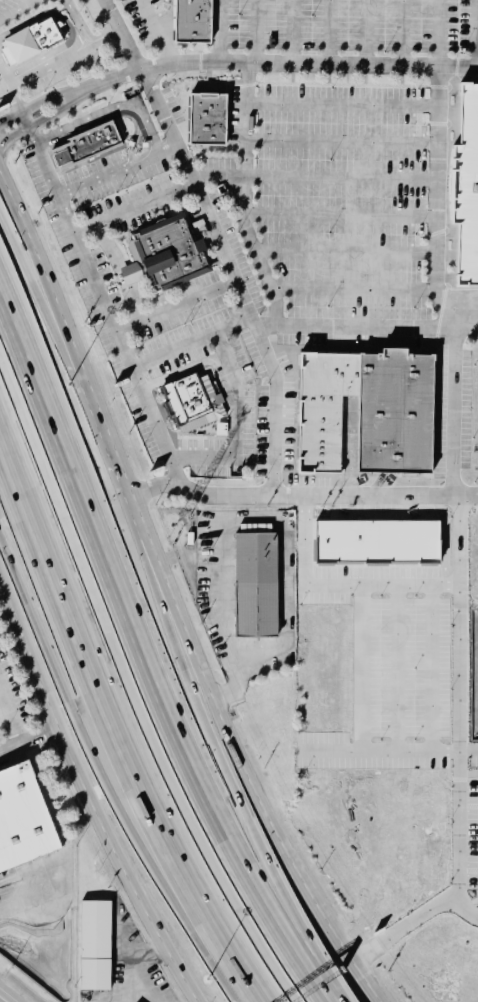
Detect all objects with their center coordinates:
road: (13, 8)
building: (191, 23)
road: (82, 26)
road: (154, 30)
road: (222, 30)
road: (257, 31)
road: (293, 31)
road: (328, 31)
road: (367, 32)
road: (405, 32)
building: (30, 40)
road: (95, 40)
road: (292, 62)
road: (41, 68)
road: (5, 75)
road: (51, 95)
road: (13, 98)
road: (343, 105)
road: (55, 112)
road: (22, 119)
building: (206, 120)
road: (151, 127)
road: (342, 141)
building: (85, 147)
road: (167, 148)
road: (437, 166)
road: (314, 178)
building: (466, 188)
road: (246, 198)
road: (134, 207)
road: (341, 215)
road: (220, 240)
building: (168, 252)
road: (346, 254)
building: (131, 273)
road: (353, 287)
road: (107, 305)
road: (178, 305)
road: (45, 307)
road: (355, 329)
road: (194, 342)
building: (191, 401)
road: (453, 401)
building: (367, 410)
road: (235, 423)
road: (303, 497)
road: (241, 520)
building: (380, 543)
road: (1, 560)
building: (256, 582)
road: (338, 586)
road: (169, 594)
road: (145, 664)
road: (362, 669)
road: (397, 669)
road: (432, 669)
road: (110, 680)
road: (460, 696)
road: (10, 716)
road: (28, 739)
road: (379, 752)
road: (469, 752)
road: (107, 758)
road: (469, 774)
road: (88, 789)
building: (22, 822)
road: (267, 859)
road: (21, 904)
road: (416, 920)
building: (96, 945)
road: (237, 975)
road: (3, 998)

